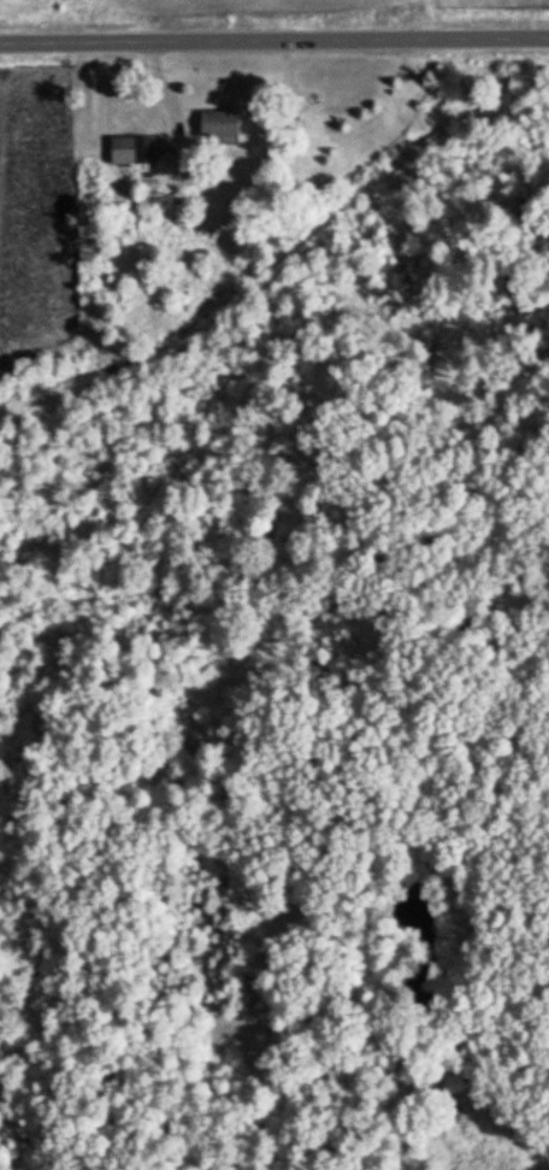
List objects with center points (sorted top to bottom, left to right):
crop: (23, 4)
crop: (231, 7)
road: (274, 40)
building: (219, 122)
building: (132, 147)

